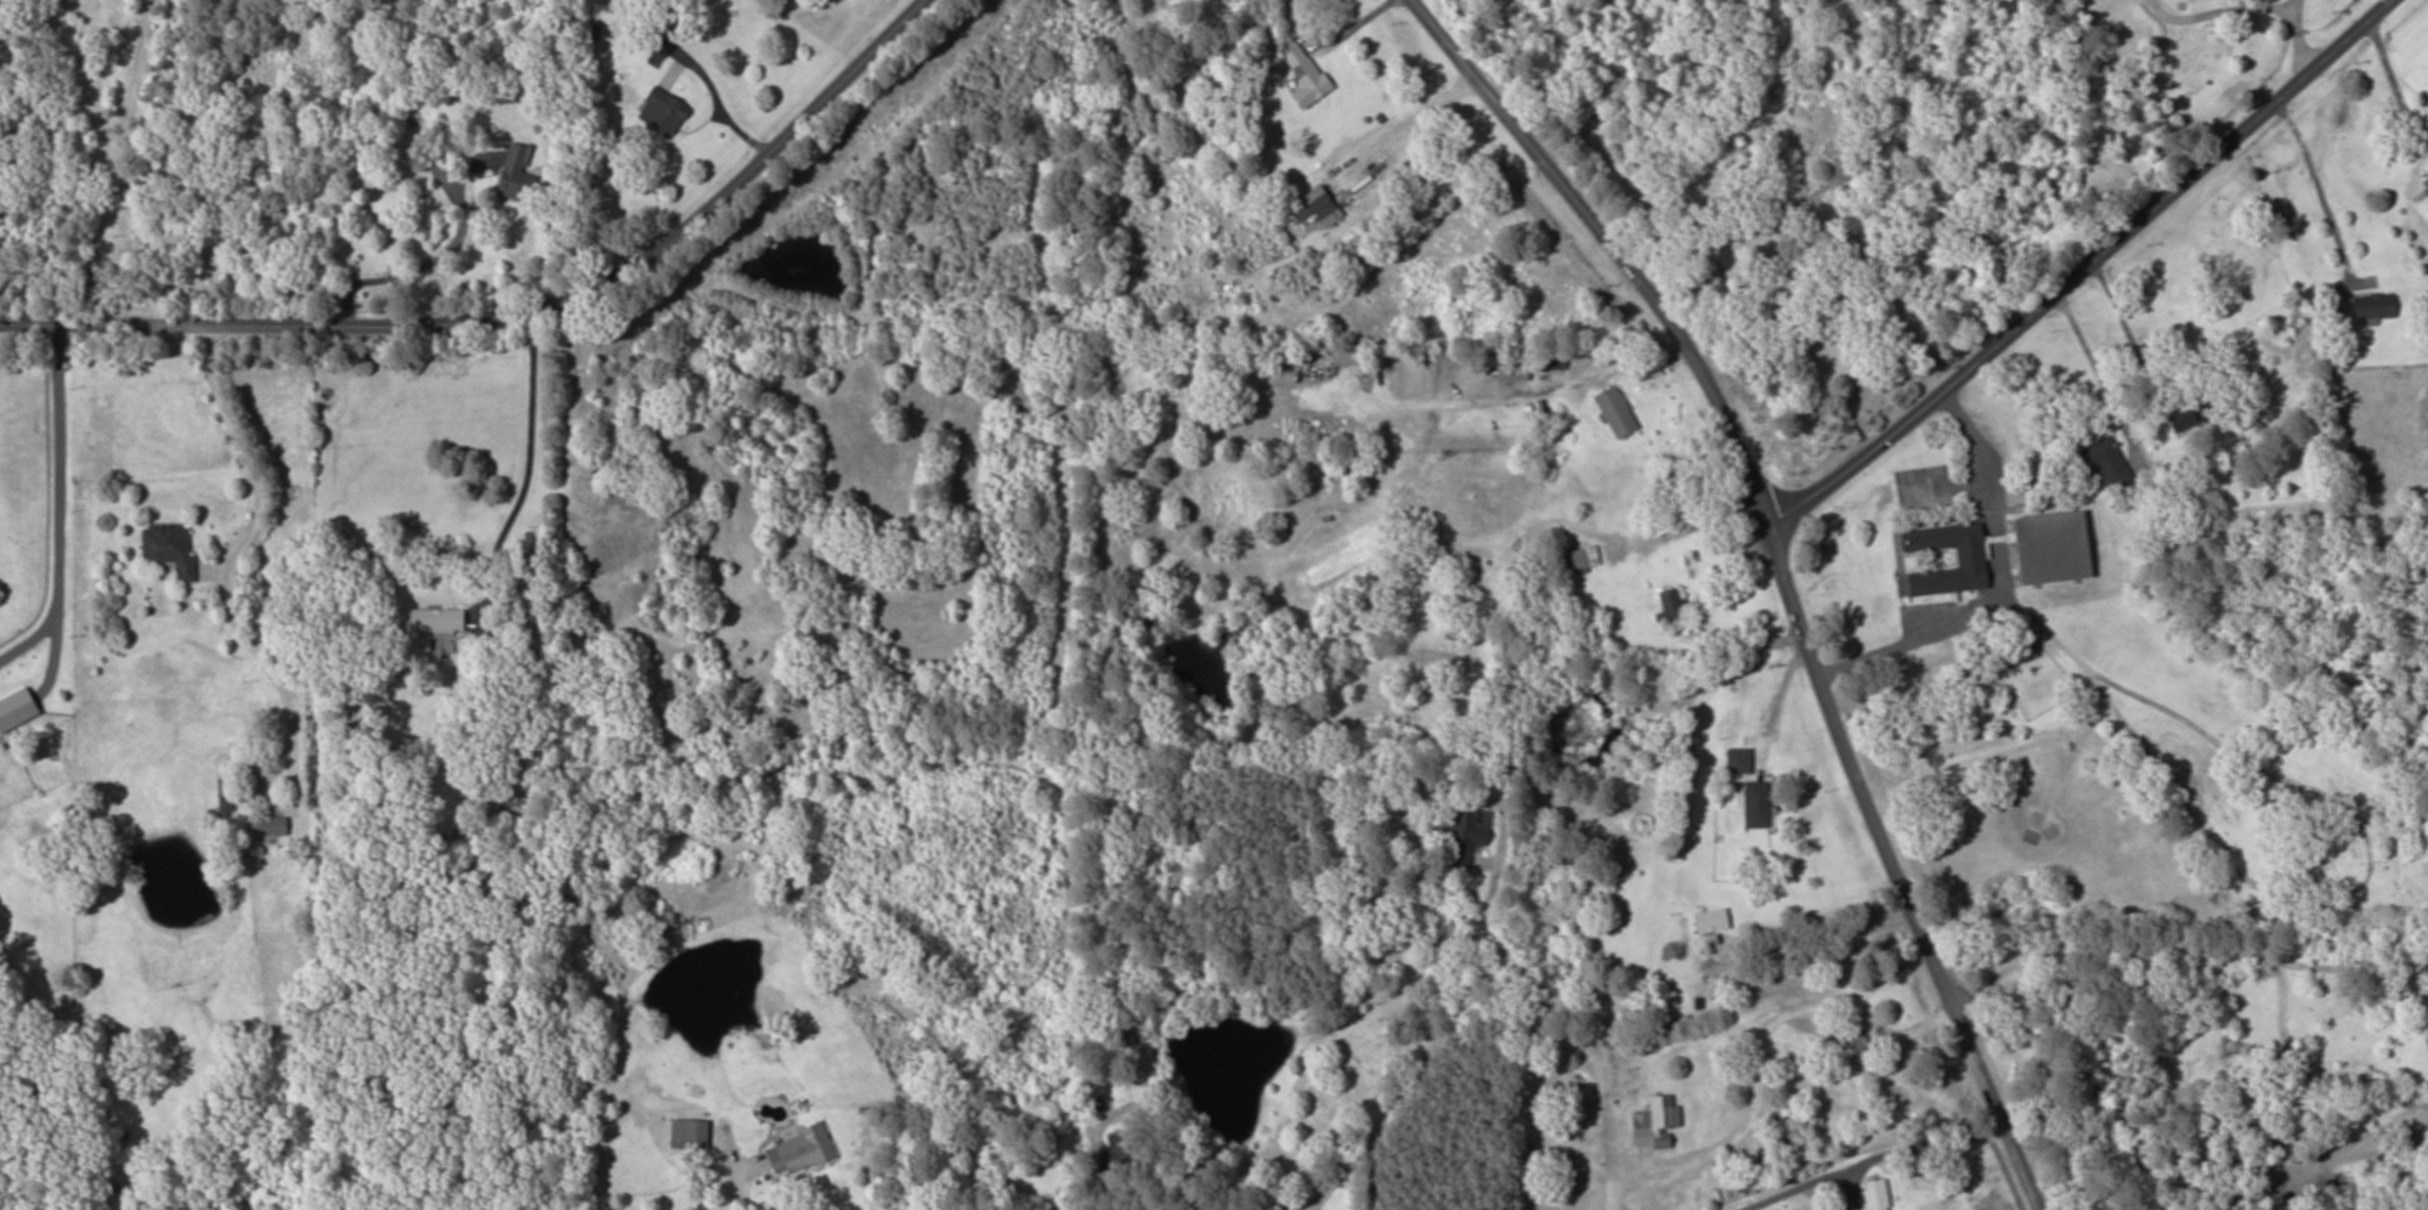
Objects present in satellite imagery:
building: (1301, 74)
building: (661, 113)
building: (1804, 125)
building: (515, 174)
building: (1307, 207)
road: (2064, 253)
building: (2370, 305)
road: (510, 310)
building: (1509, 366)
building: (2195, 411)
building: (1614, 412)
building: (2100, 460)
building: (2045, 547)
building: (171, 548)
building: (1583, 558)
building: (1966, 559)
road: (1794, 579)
building: (1669, 603)
building: (440, 620)
building: (19, 709)
building: (1734, 759)
building: (515, 803)
building: (1753, 803)
building: (272, 826)
building: (1460, 832)
road: (1524, 833)
building: (1618, 866)
building: (1707, 920)
building: (2427, 1016)
building: (2427, 1041)
building: (1850, 1046)
building: (1654, 1123)
building: (686, 1133)
building: (798, 1149)
building: (1744, 1177)
building: (1873, 1194)

